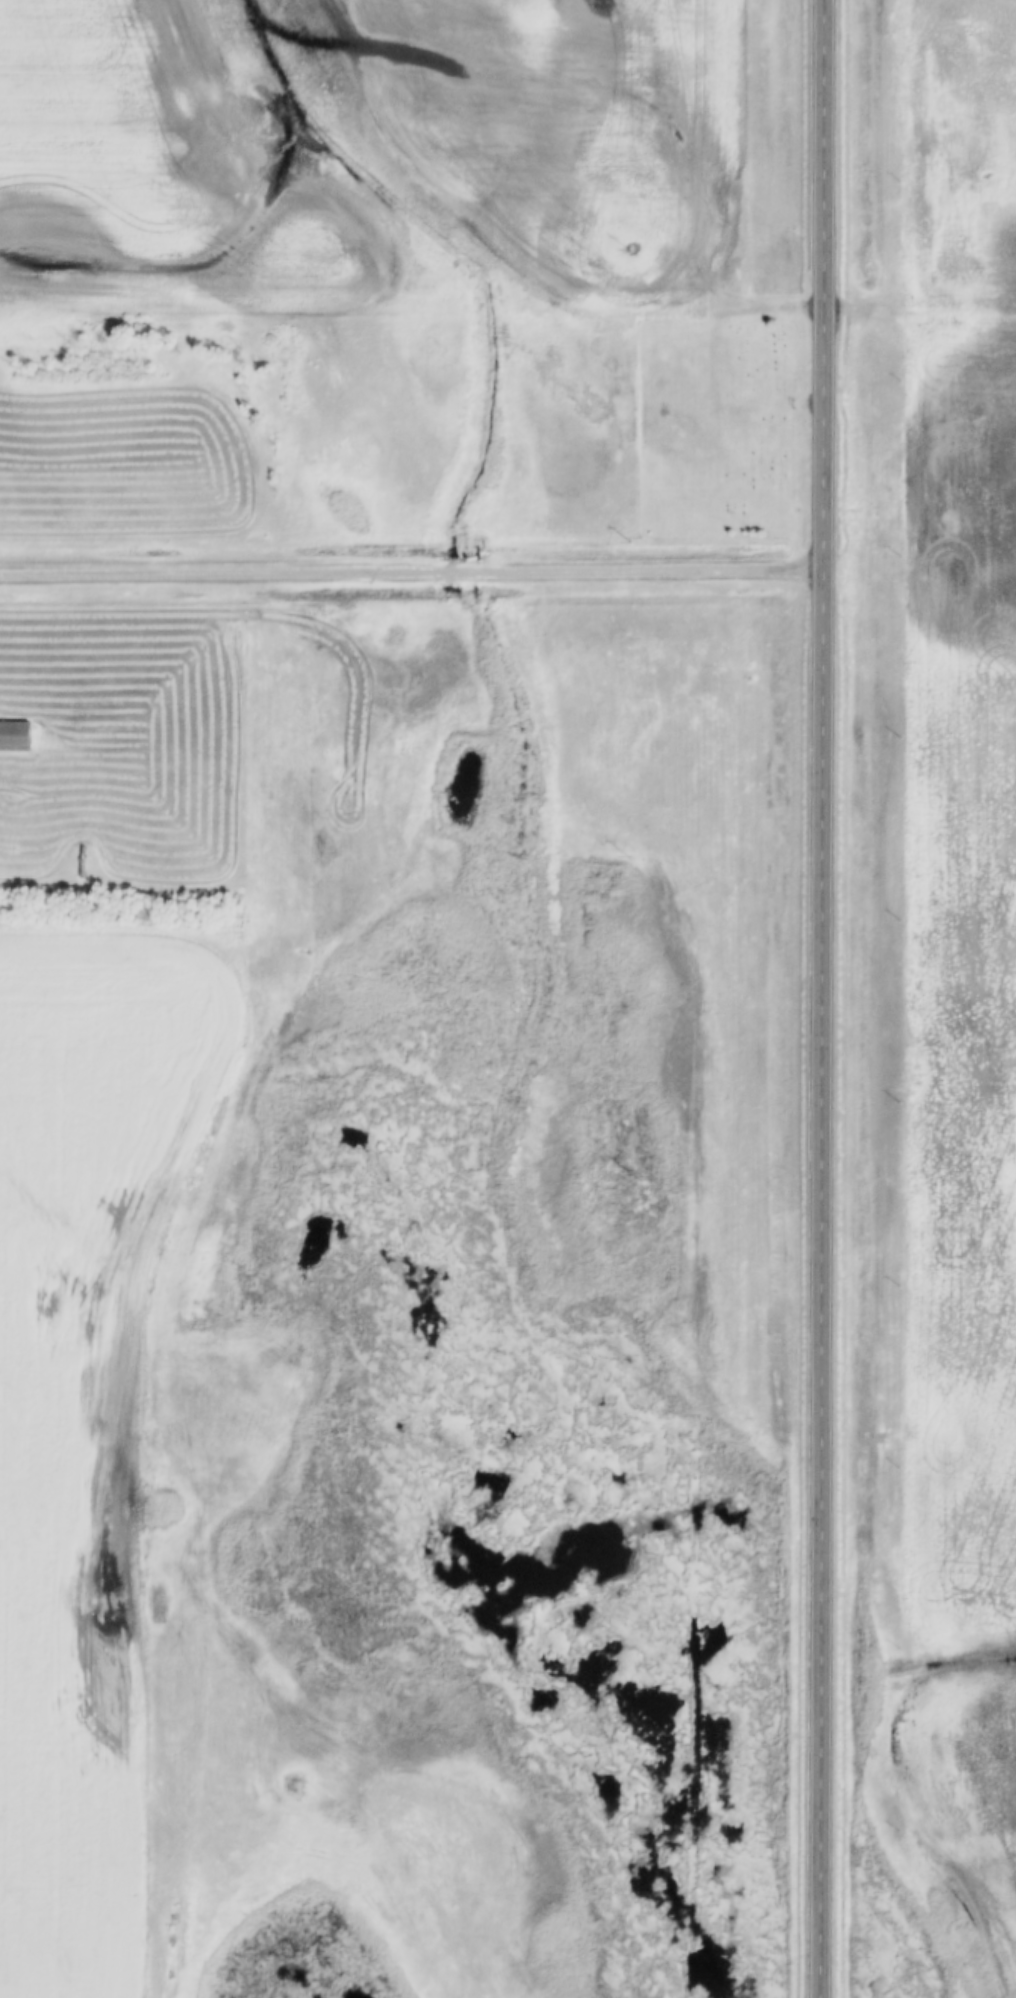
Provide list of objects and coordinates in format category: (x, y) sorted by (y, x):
park: (716, 428)
road: (413, 571)
building: (15, 738)
road: (825, 998)

